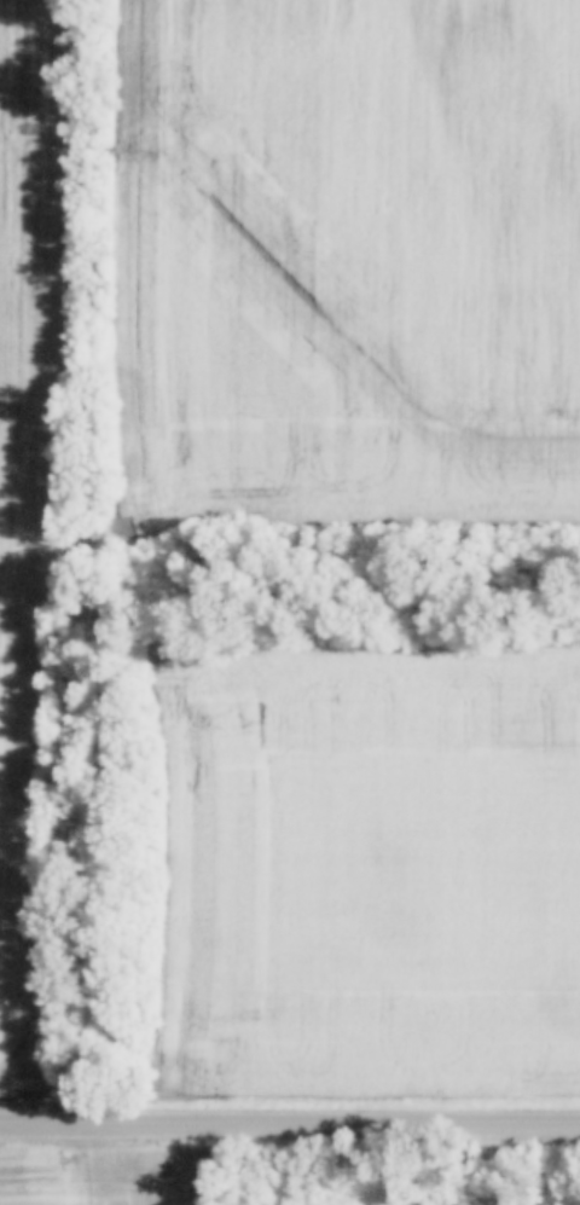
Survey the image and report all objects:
road: (290, 1126)

